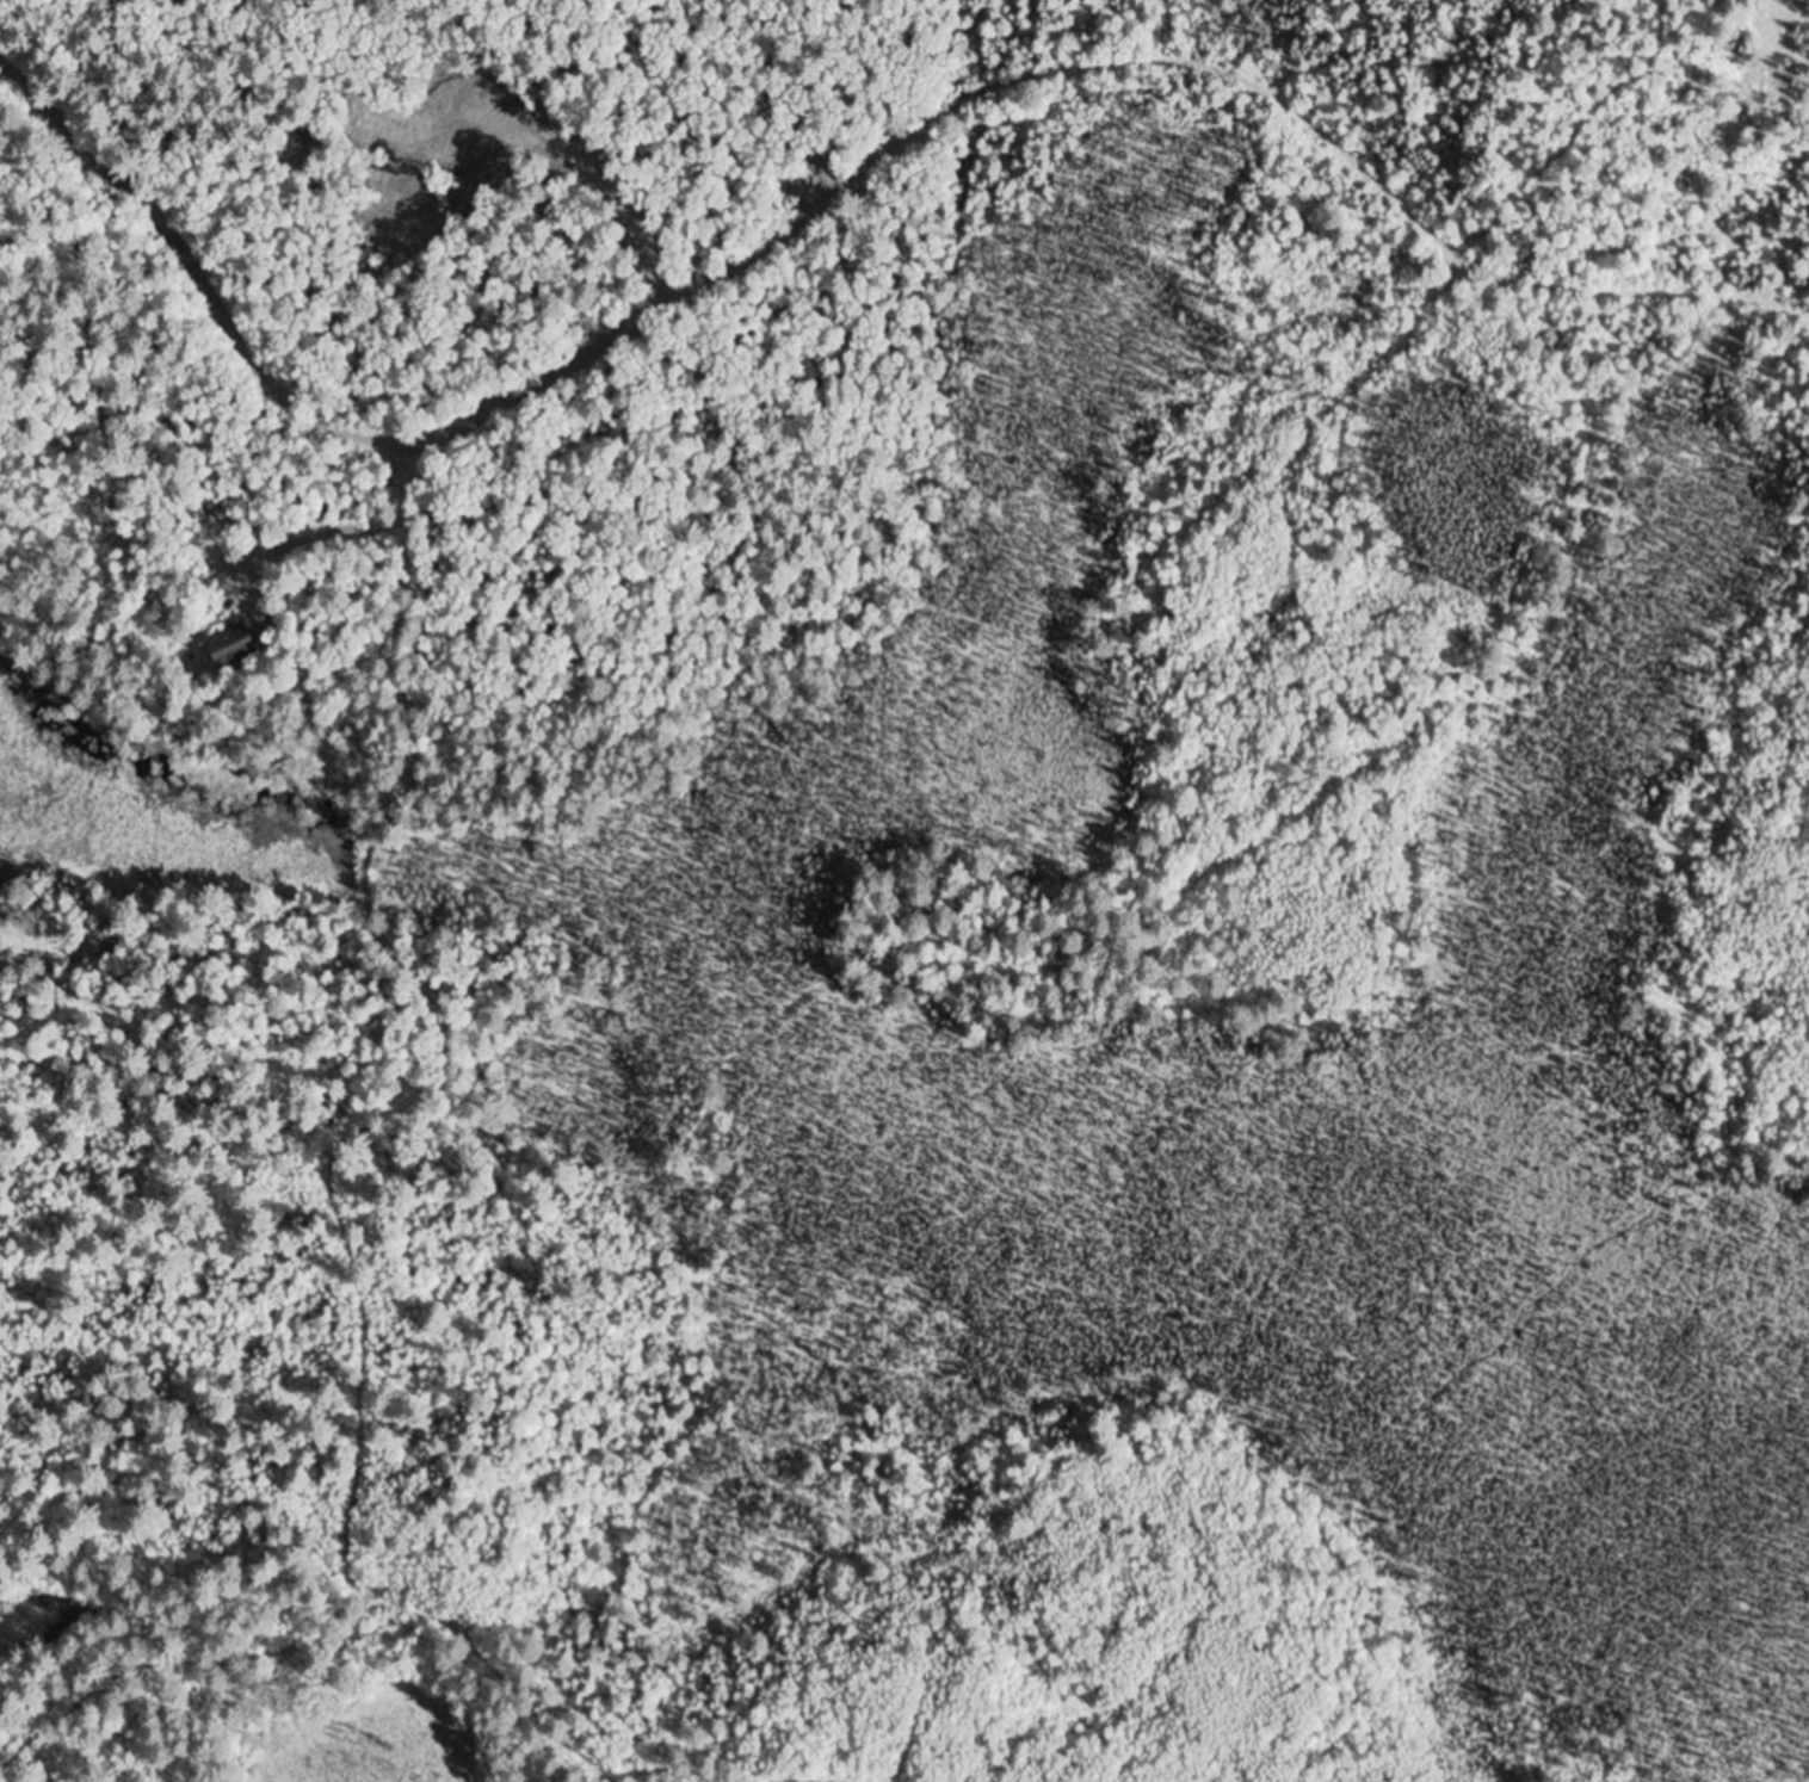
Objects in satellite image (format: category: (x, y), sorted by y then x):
road: (199, 279)
building: (223, 646)

